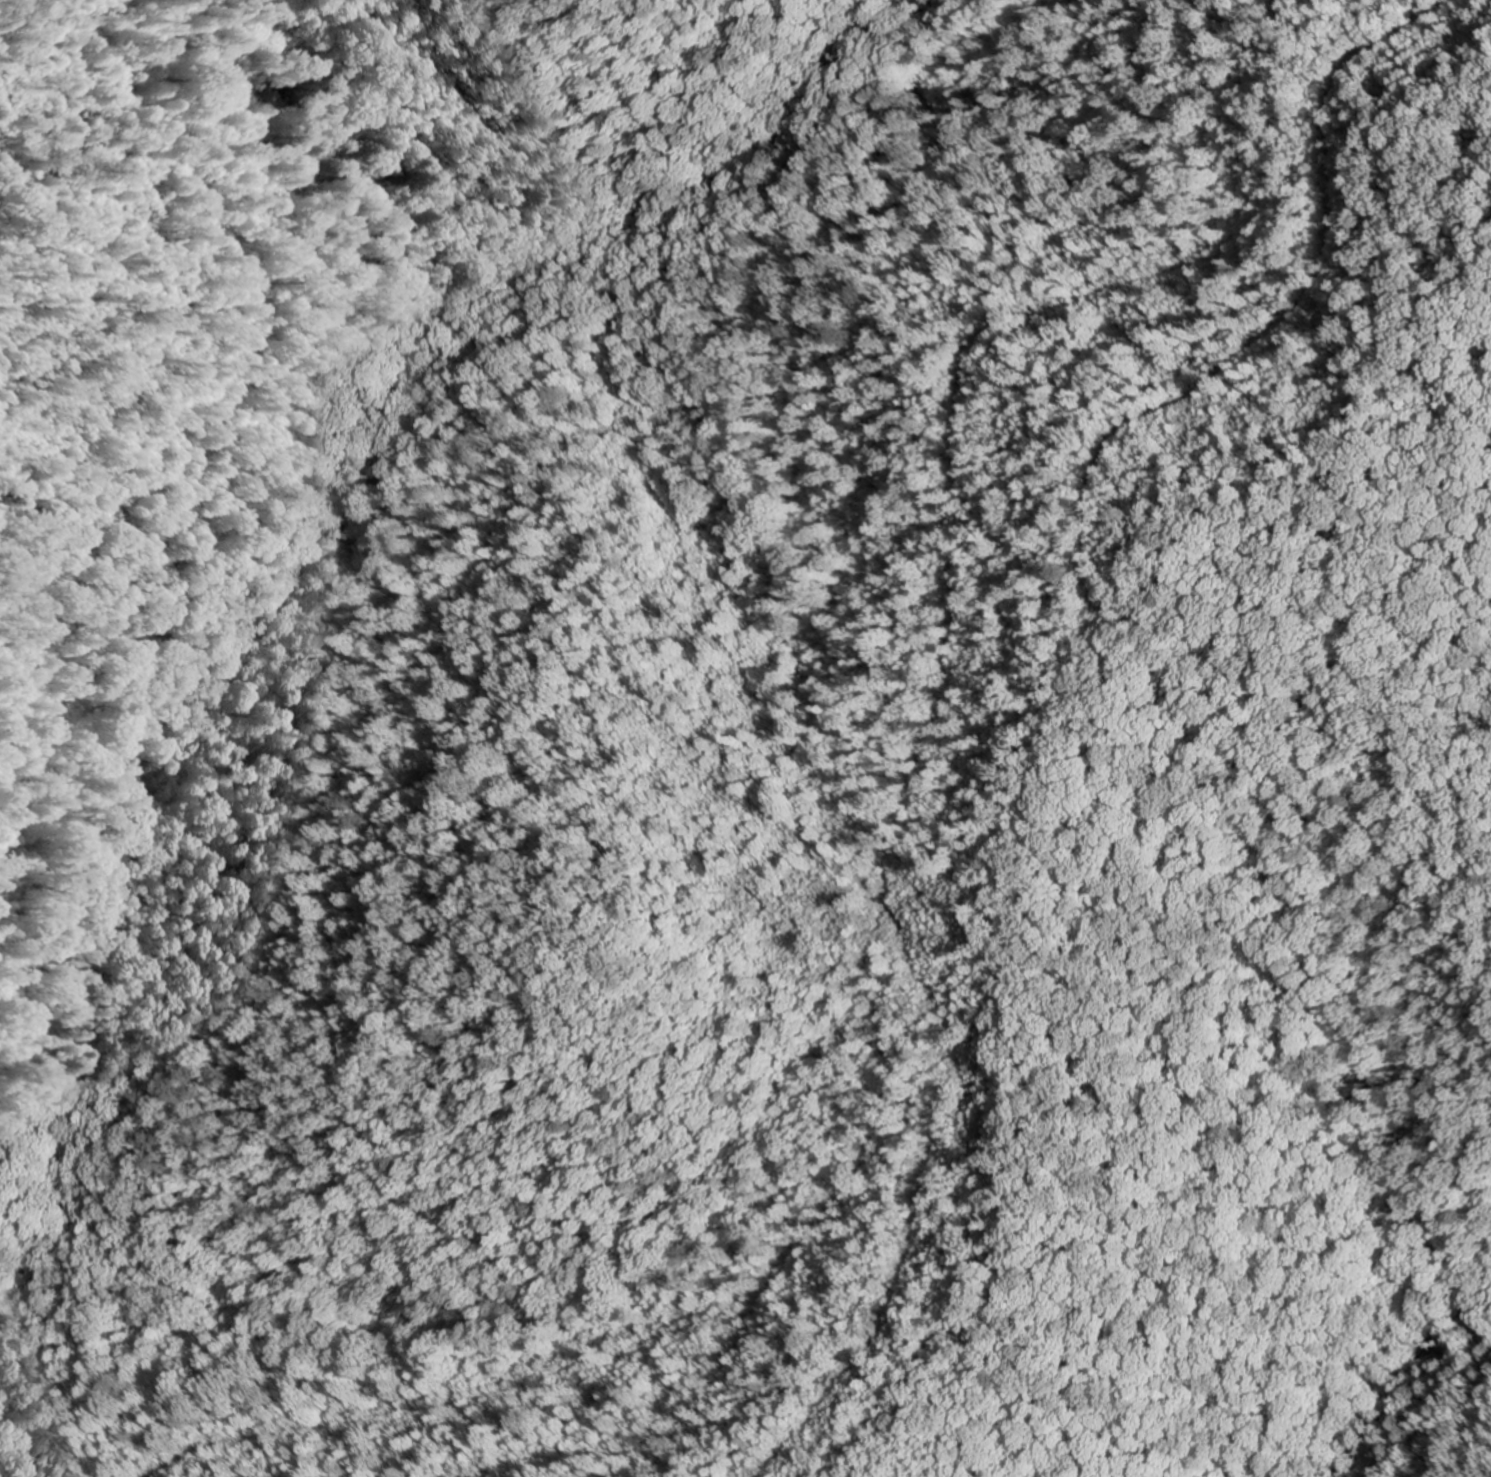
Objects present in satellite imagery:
road: (1478, 1464)

